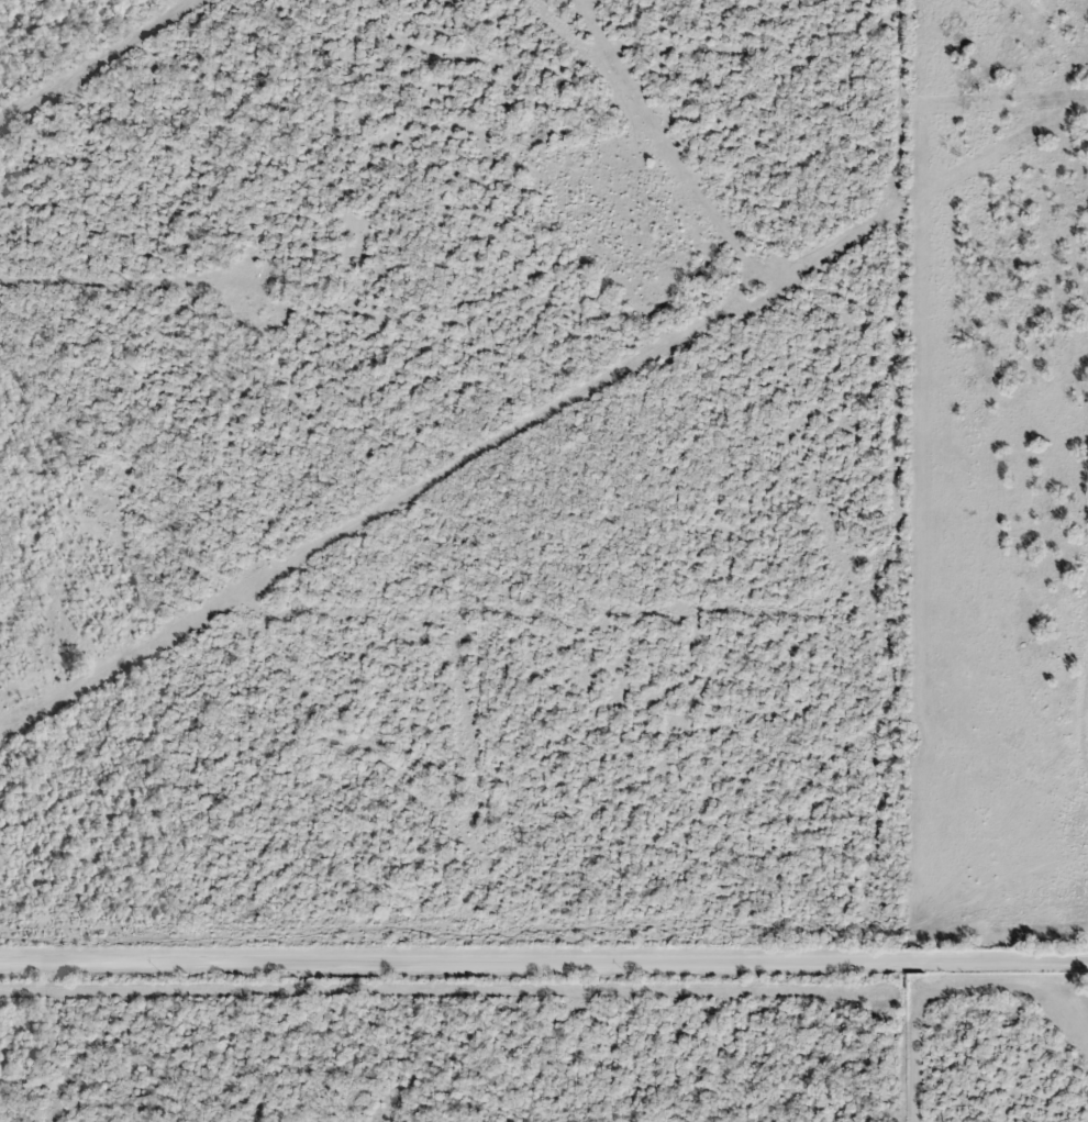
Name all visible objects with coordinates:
road: (544, 955)

